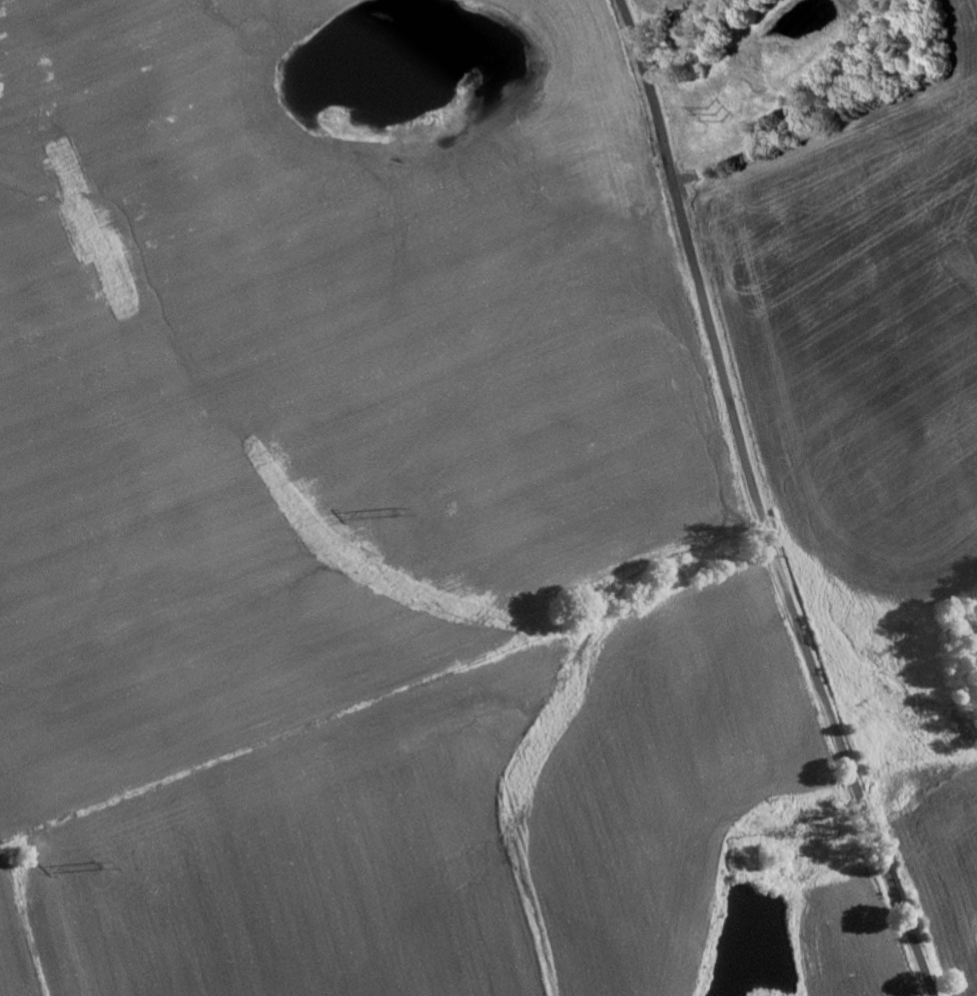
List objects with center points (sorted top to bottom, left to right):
road: (756, 503)

